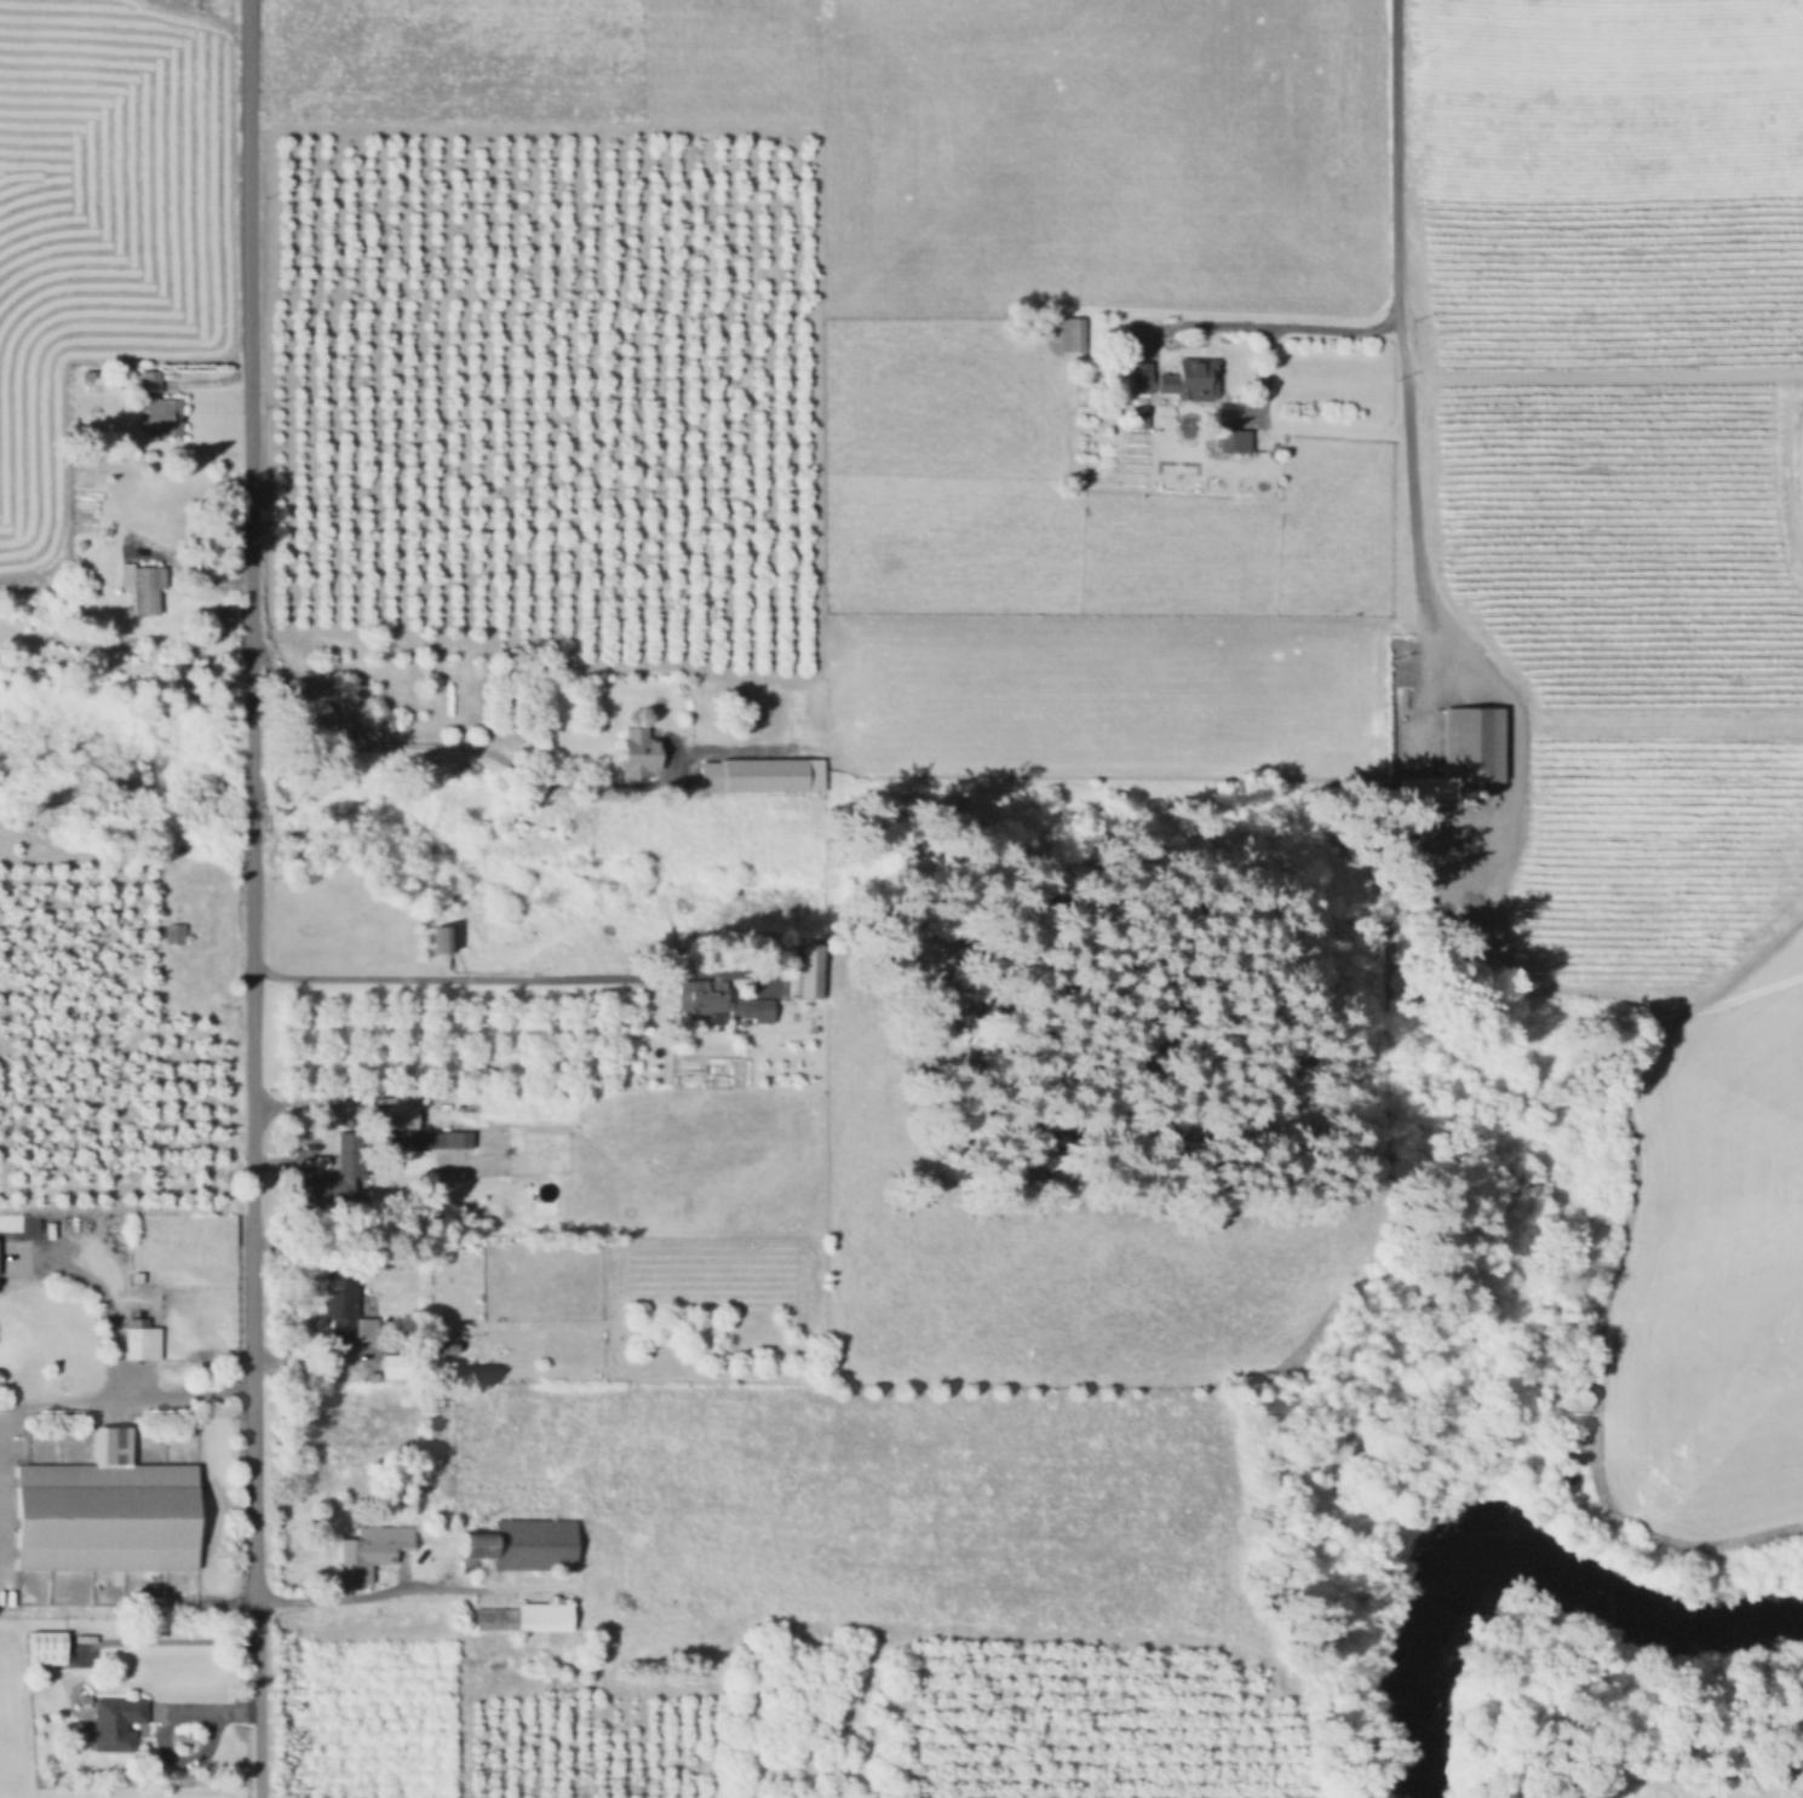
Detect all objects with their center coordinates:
road: (1394, 153)
crop: (99, 222)
road: (1258, 321)
building: (1073, 334)
road: (1602, 370)
building: (1170, 374)
building: (151, 379)
building: (1139, 415)
building: (165, 417)
building: (1234, 441)
road: (1412, 488)
crop: (1328, 489)
building: (142, 586)
building: (701, 708)
building: (700, 742)
building: (1470, 746)
building: (639, 753)
road: (487, 754)
building: (773, 774)
building: (708, 779)
road: (252, 800)
building: (443, 938)
building: (810, 970)
road: (509, 981)
building: (718, 1003)
building: (395, 1116)
building: (414, 1139)
building: (337, 1172)
building: (134, 1281)
building: (346, 1306)
building: (443, 1343)
building: (140, 1348)
road: (111, 1349)
building: (400, 1366)
road: (183, 1394)
building: (104, 1516)
building: (526, 1545)
building: (371, 1552)
road: (418, 1590)
river: (1649, 1613)
building: (527, 1615)
road: (2, 1622)
river: (1440, 1651)
building: (46, 1653)
road: (177, 1654)
road: (258, 1699)
building: (114, 1727)
crop: (1779, 1785)

